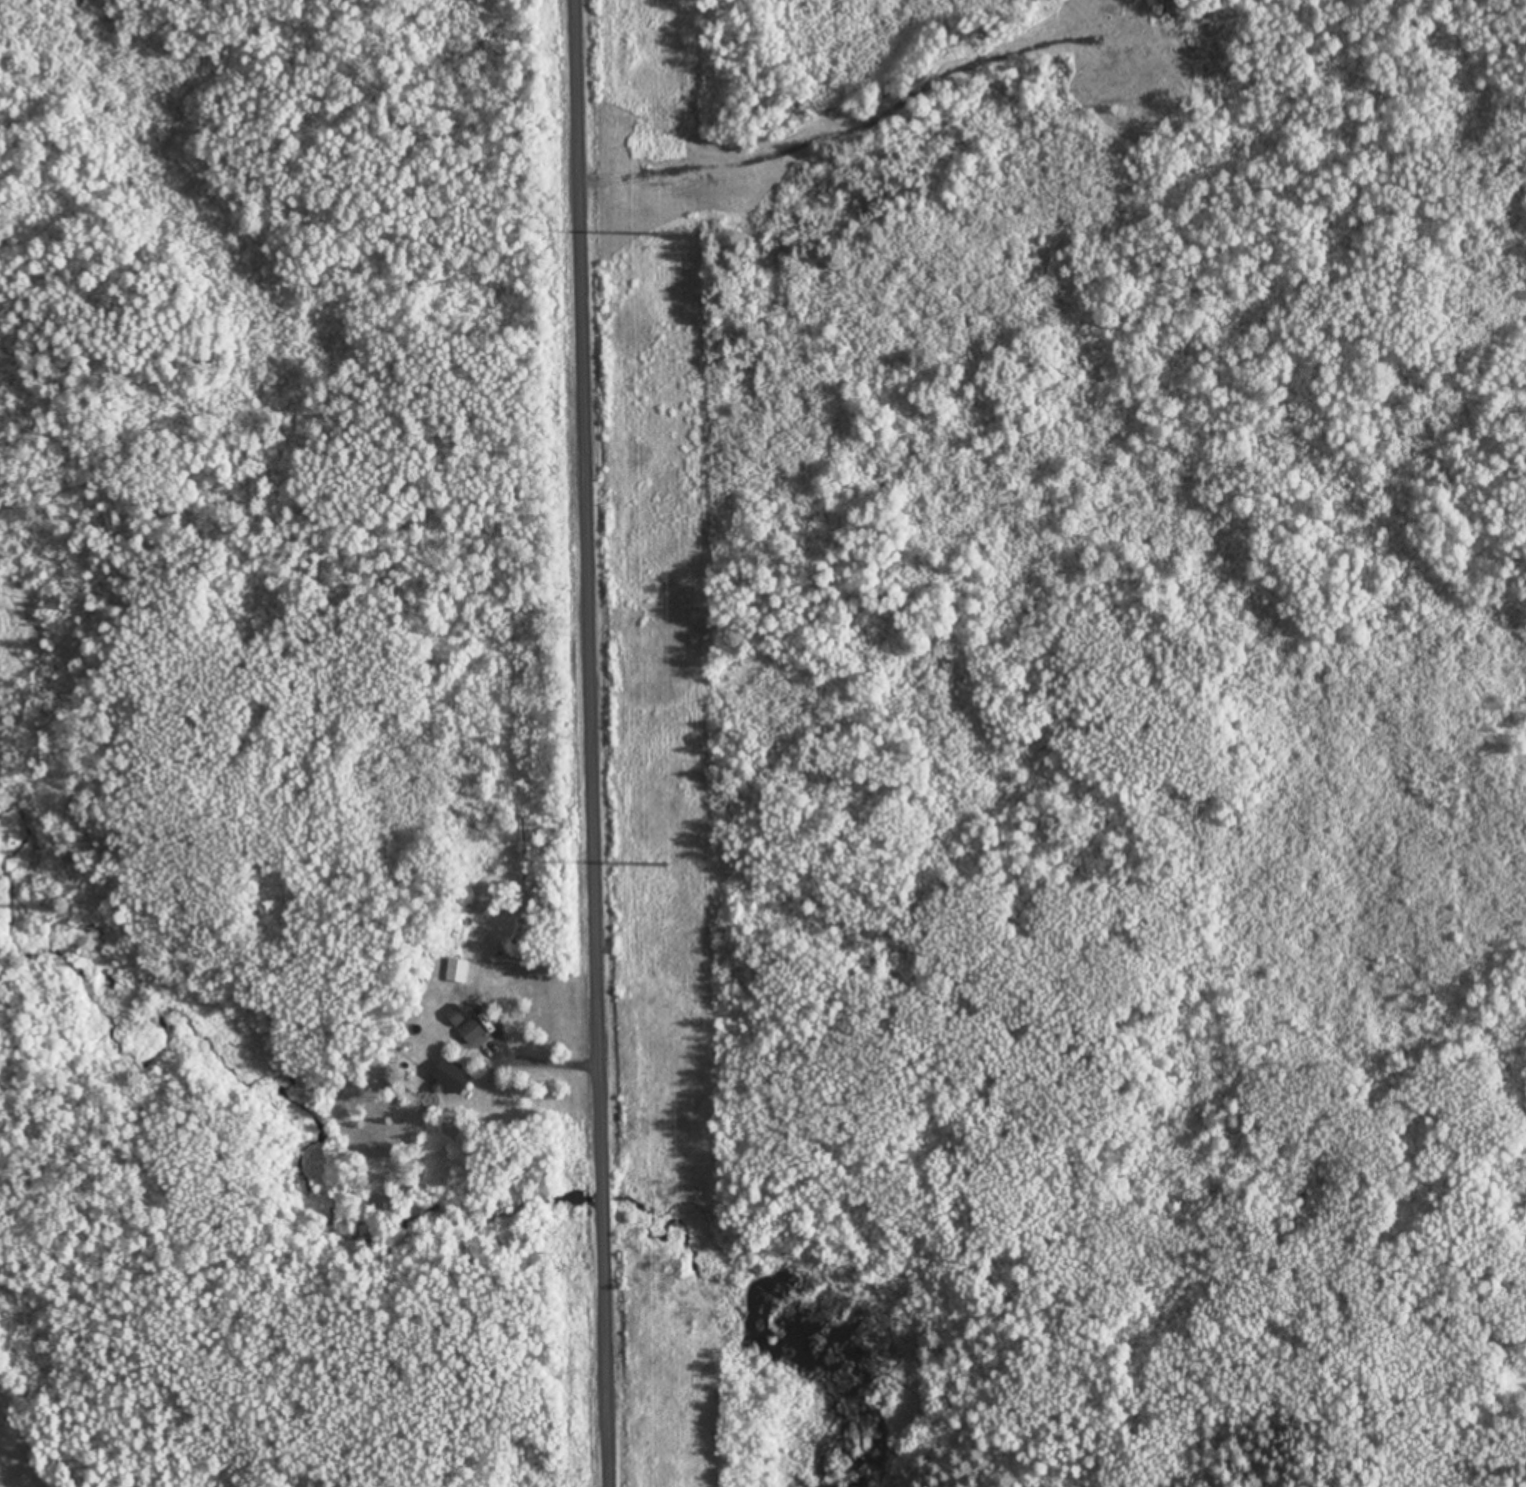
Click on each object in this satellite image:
power tower: (651, 232)
road: (599, 743)
power tower: (663, 863)
building: (456, 971)
building: (454, 1016)
building: (470, 1032)
building: (451, 1077)

